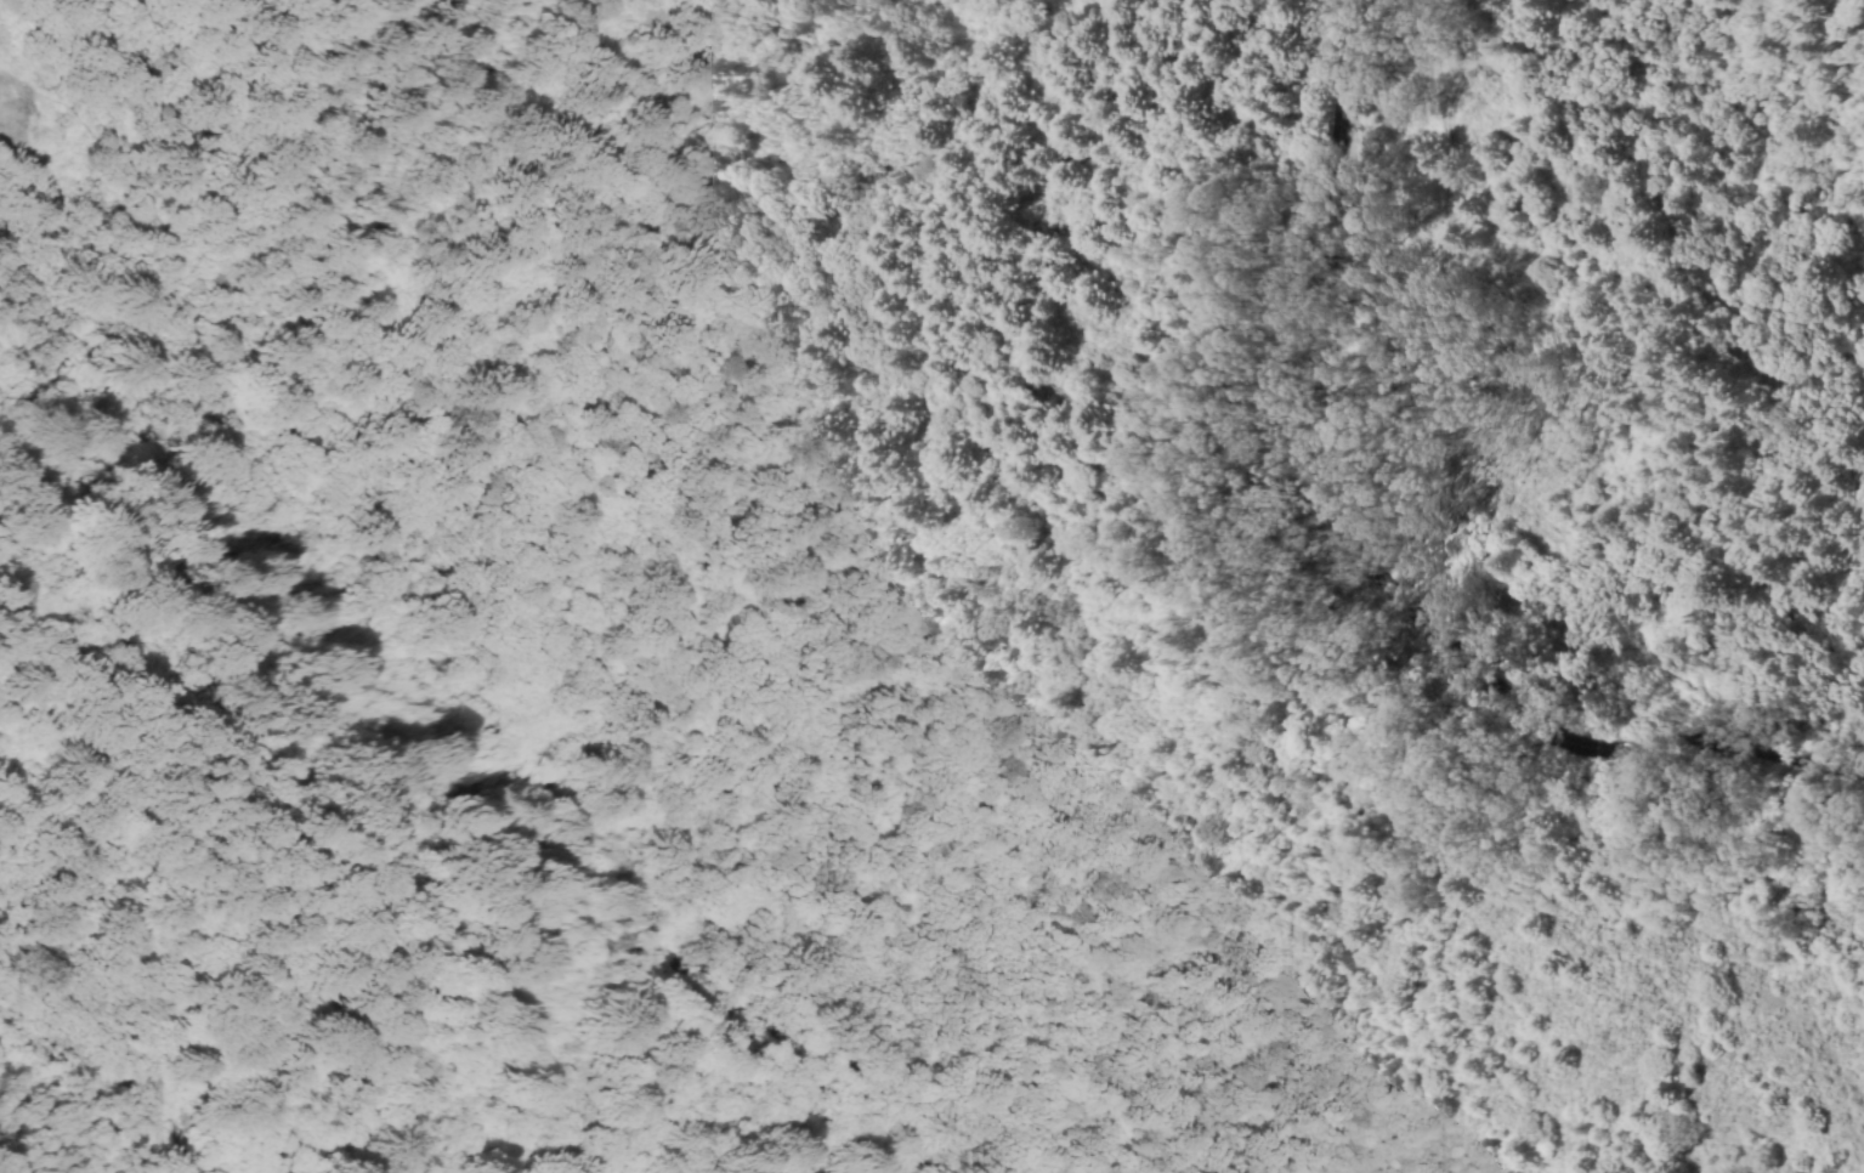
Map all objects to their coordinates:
road: (1339, 561)
road: (546, 640)

